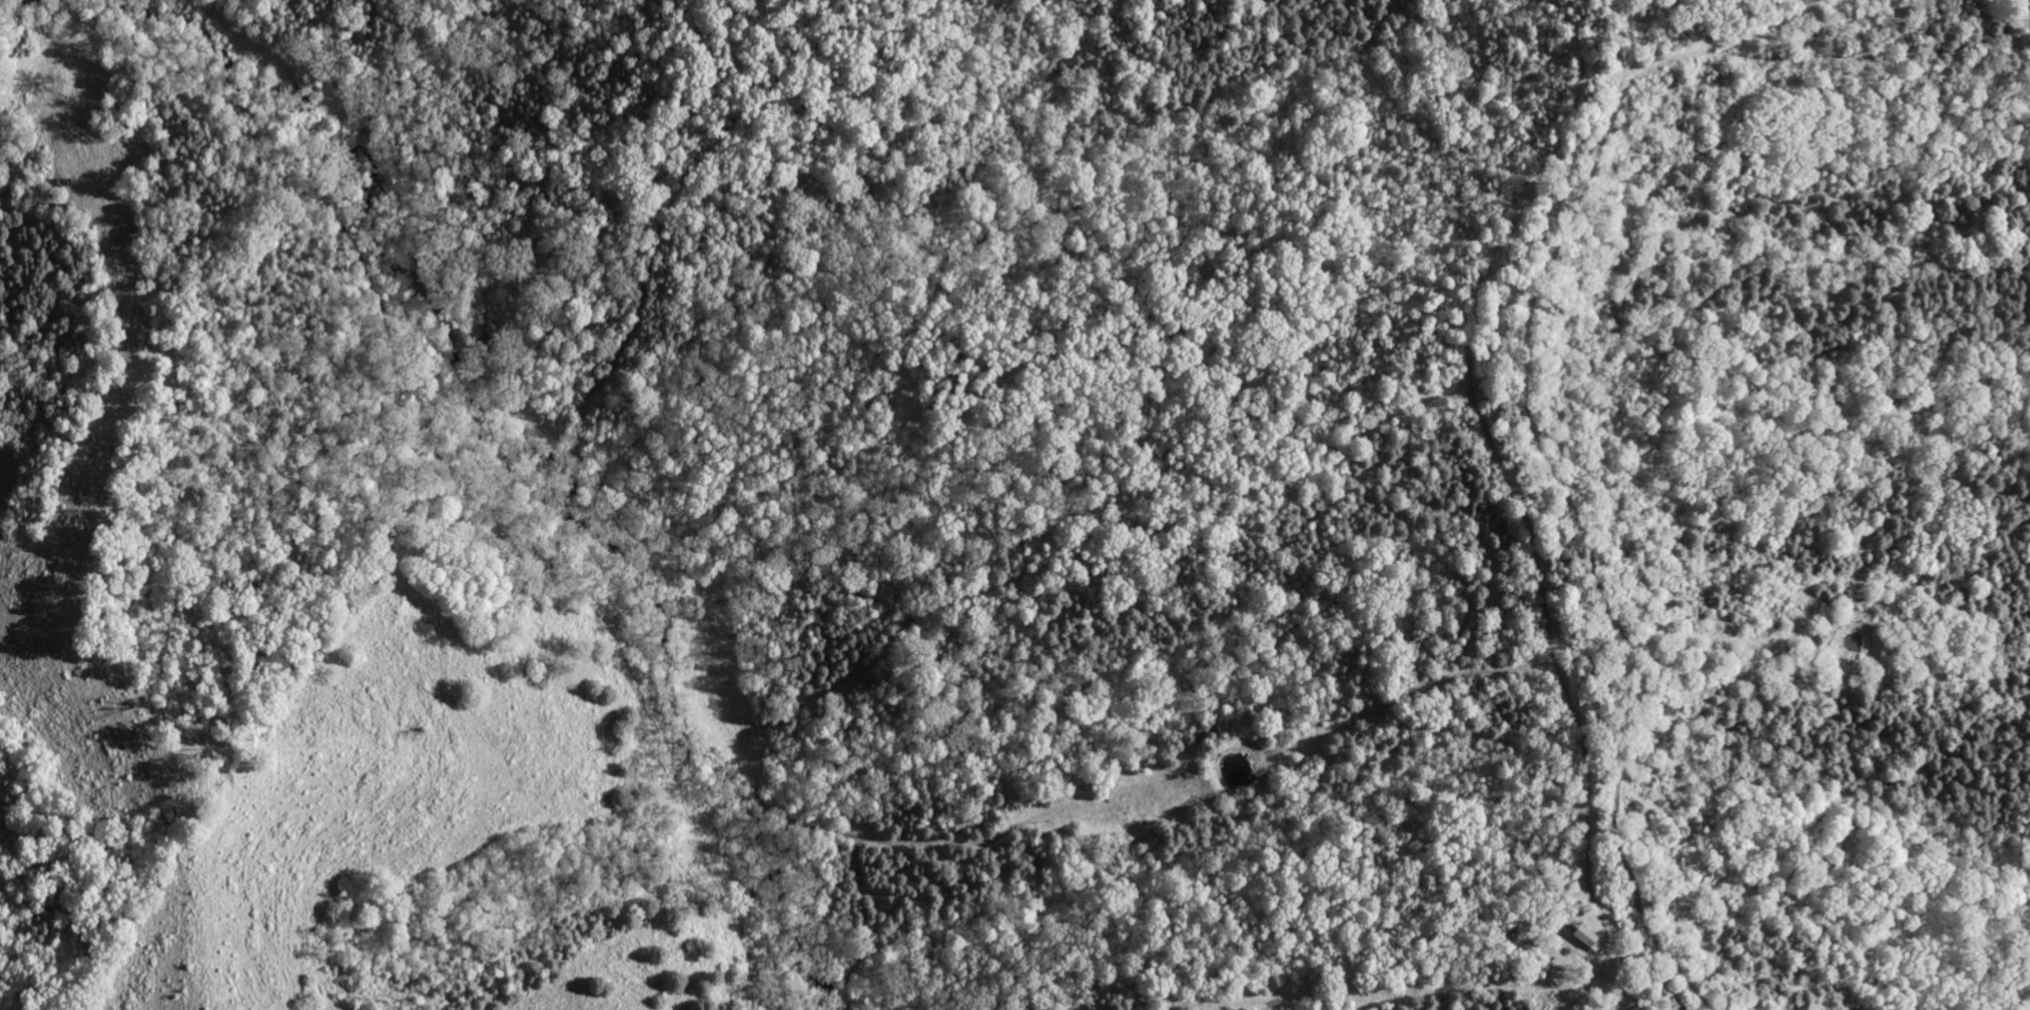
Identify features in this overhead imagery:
building: (1596, 939)

